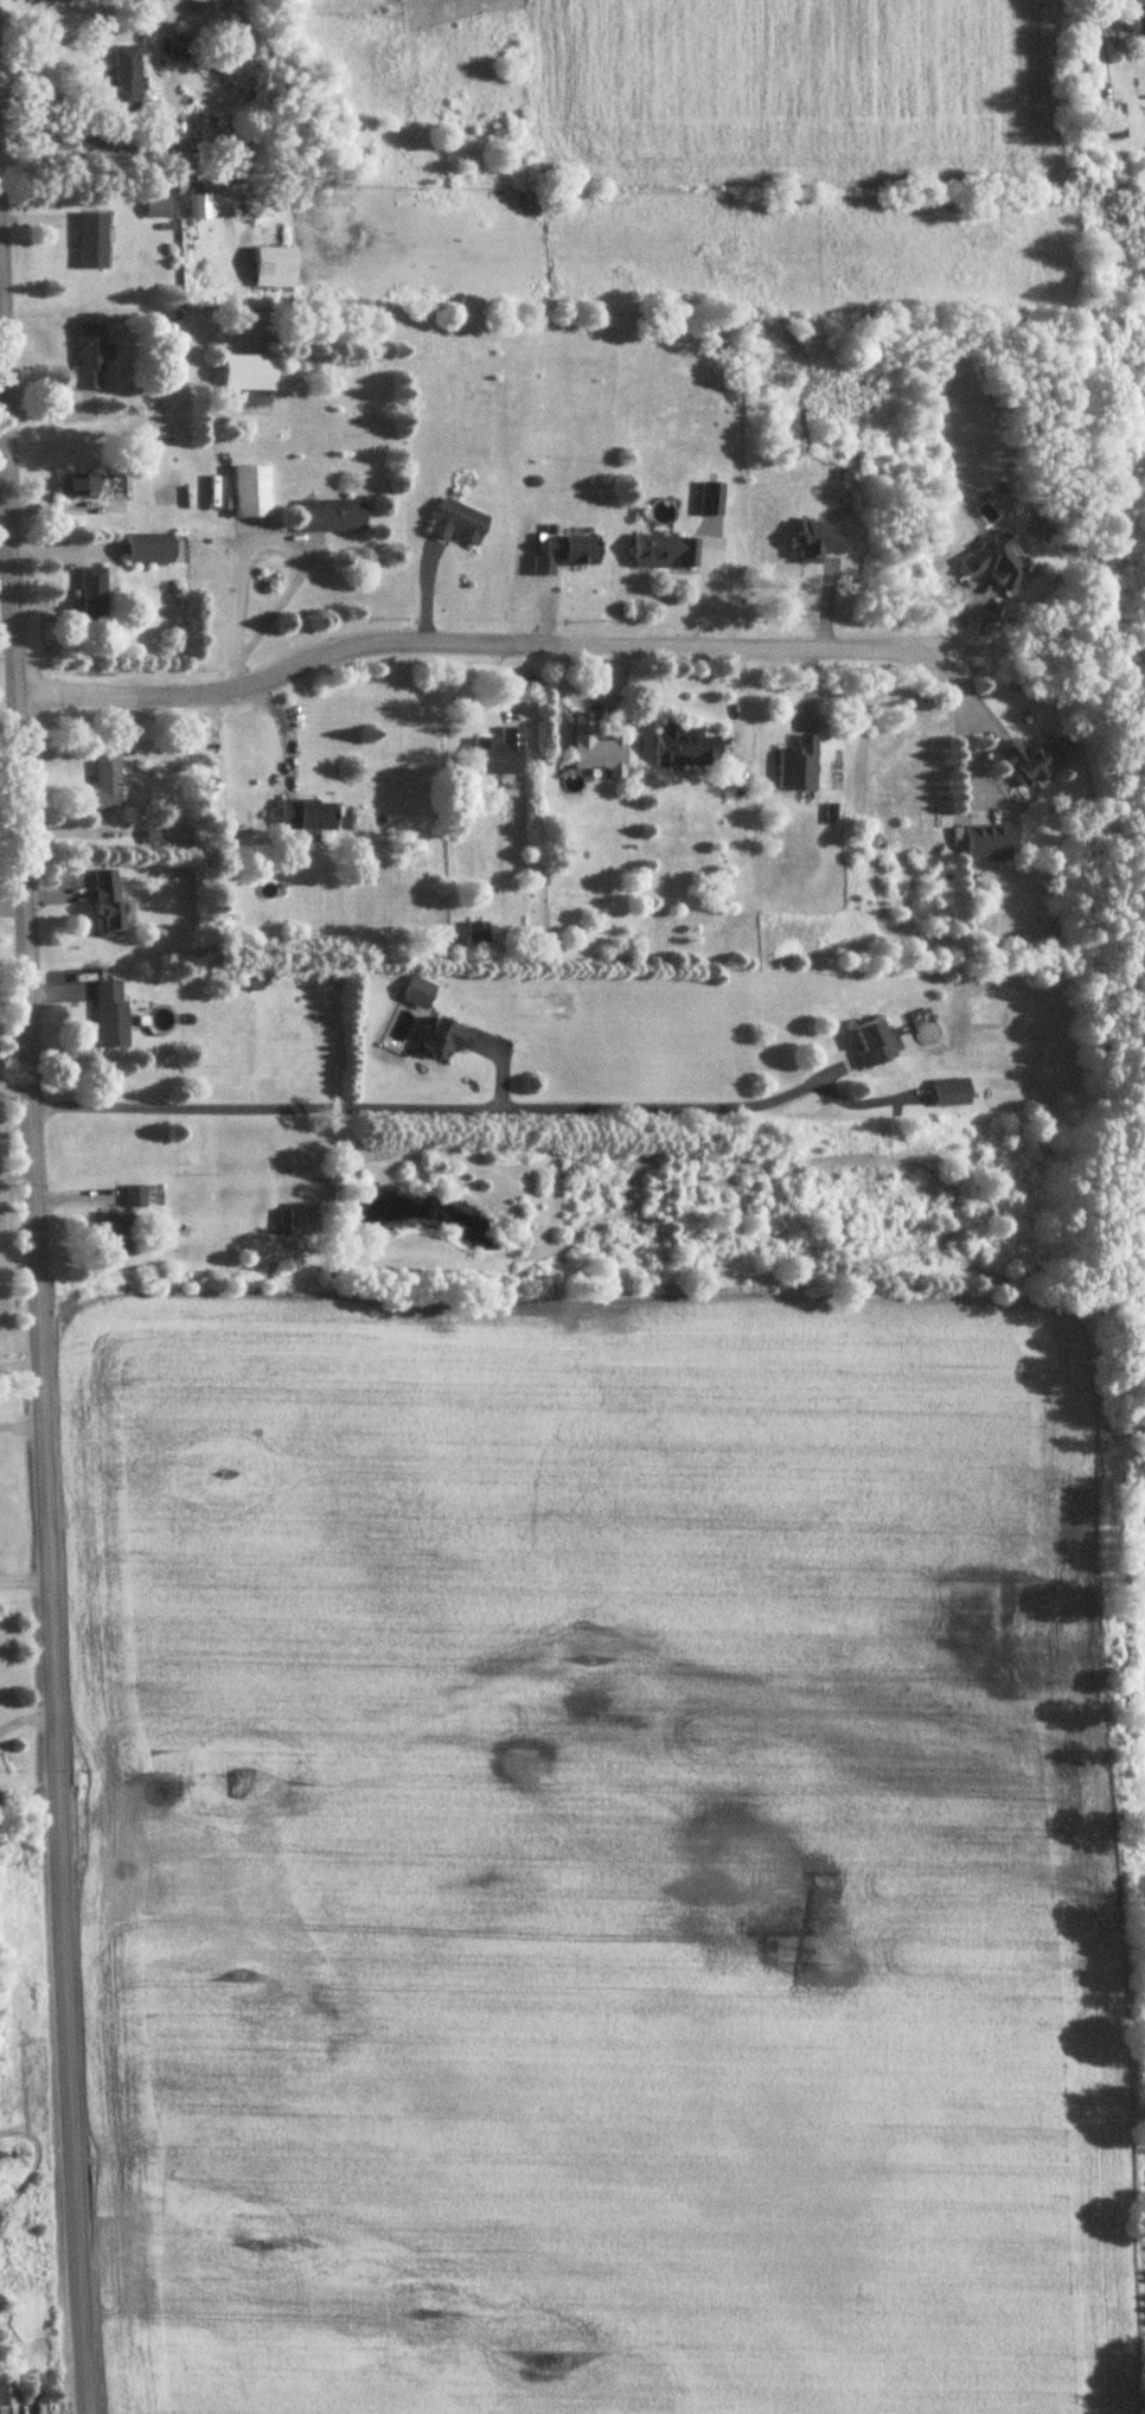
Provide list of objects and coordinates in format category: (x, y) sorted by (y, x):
building: (1138, 24)
road: (1102, 32)
building: (127, 79)
building: (1115, 121)
building: (156, 209)
building: (199, 209)
building: (91, 242)
building: (275, 268)
building: (91, 358)
road: (0, 449)
building: (79, 487)
building: (251, 492)
building: (711, 500)
building: (332, 517)
building: (458, 524)
road: (266, 539)
building: (151, 550)
building: (571, 550)
building: (665, 553)
building: (998, 562)
building: (94, 594)
road: (467, 633)
road: (961, 716)
road: (281, 722)
building: (687, 747)
building: (599, 752)
building: (499, 755)
building: (1031, 762)
building: (107, 783)
building: (308, 817)
building: (156, 836)
building: (987, 843)
building: (110, 912)
building: (475, 935)
building: (418, 994)
building: (111, 1016)
building: (448, 1039)
building: (872, 1045)
building: (948, 1094)
road: (421, 1110)
building: (133, 1198)
building: (286, 1224)
building: (114, 1235)
road: (18, 1367)
road: (37, 1416)
road: (19, 1424)
road: (21, 1585)
road: (23, 1717)
road: (26, 1790)
building: (4, 2399)

